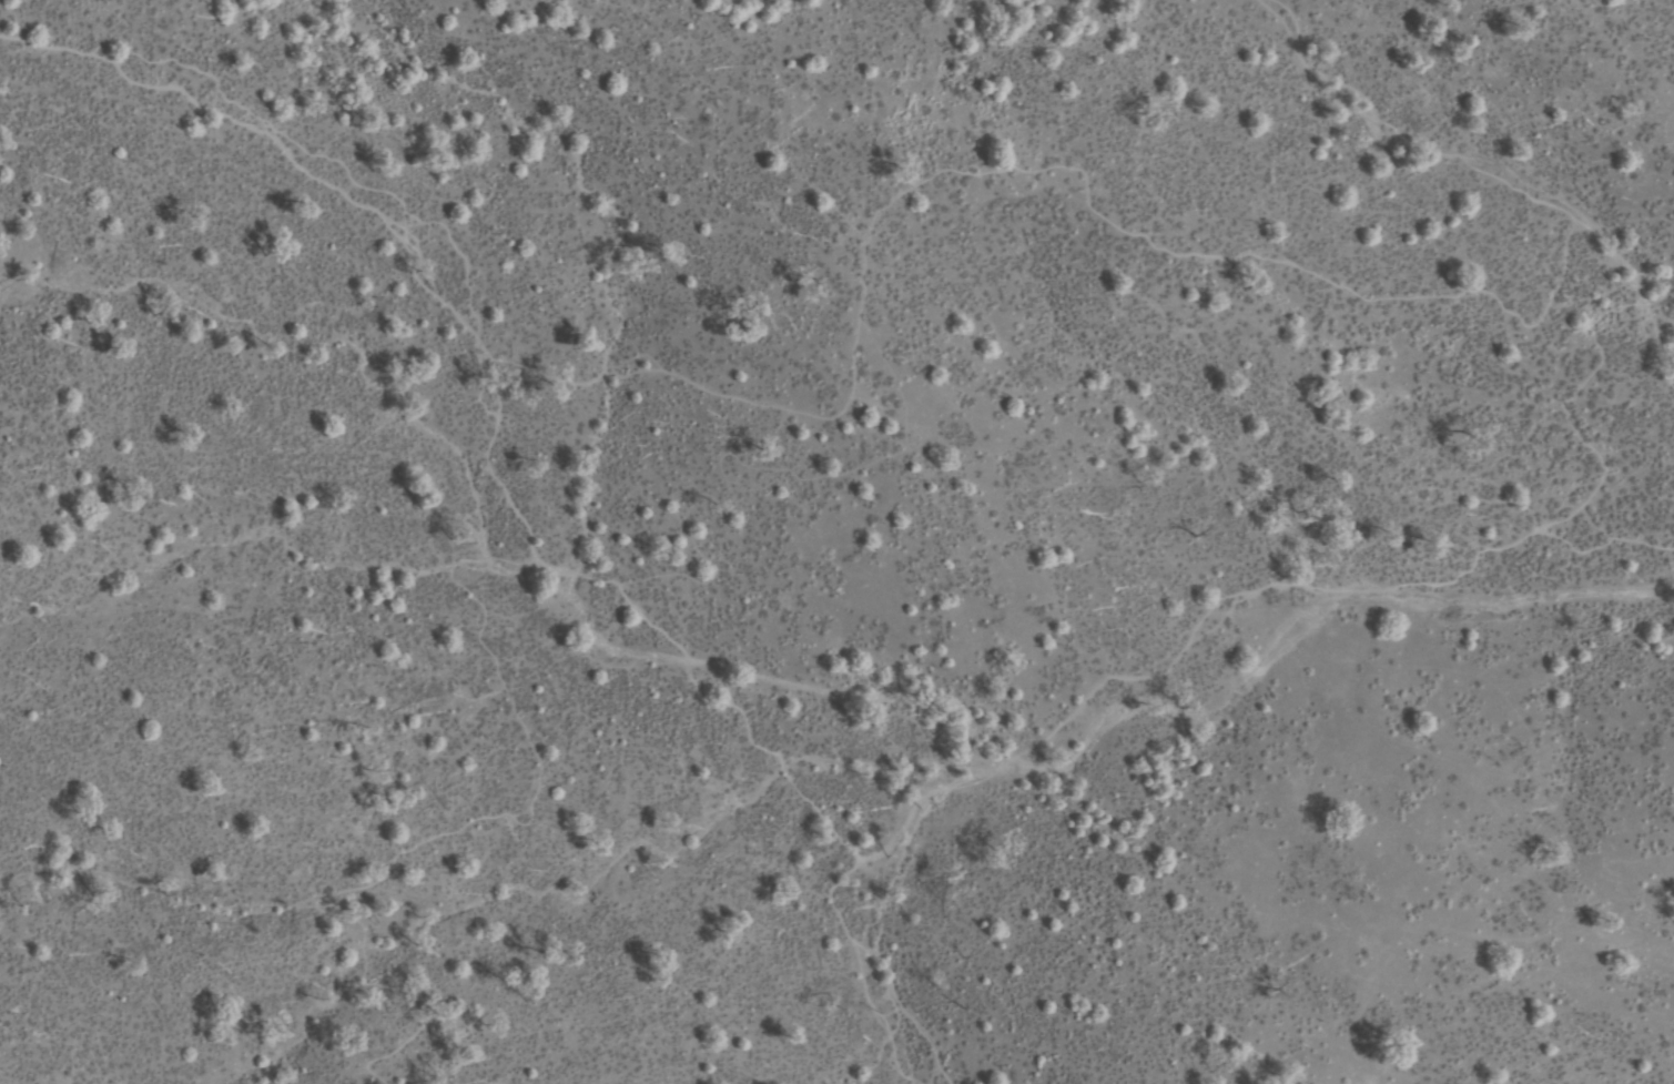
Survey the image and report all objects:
road: (362, 206)
road: (1539, 526)
road: (703, 697)
road: (445, 831)
road: (880, 970)
road: (497, 1078)

